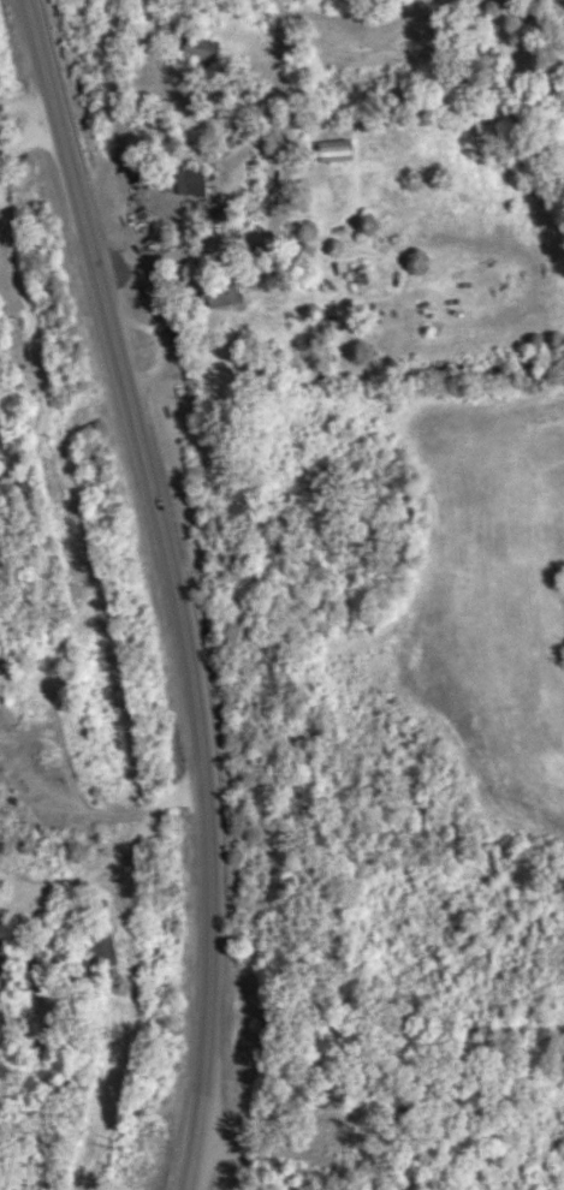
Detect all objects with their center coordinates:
road: (560, 4)
road: (24, 111)
road: (26, 136)
building: (340, 150)
building: (190, 182)
road: (286, 212)
building: (224, 293)
road: (35, 345)
road: (177, 585)
road: (114, 858)
building: (105, 948)
building: (5, 966)

